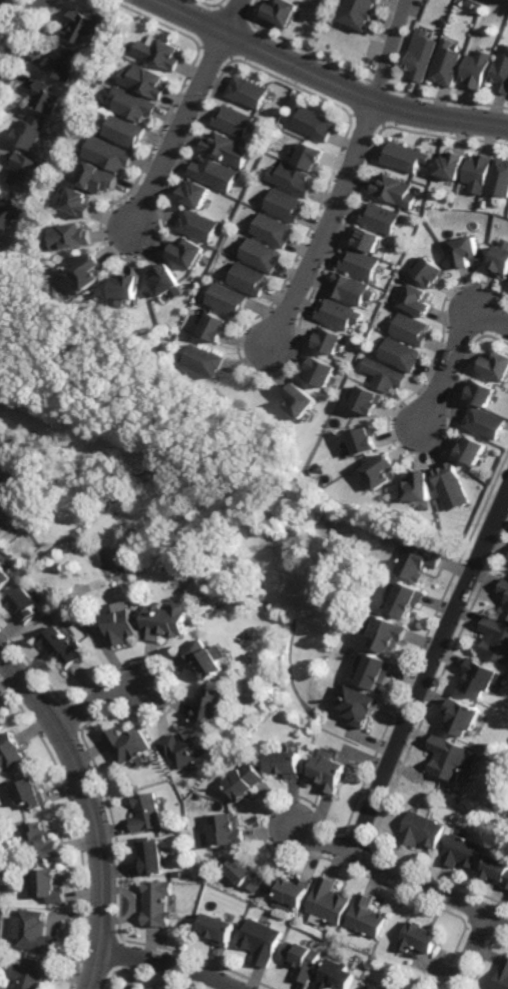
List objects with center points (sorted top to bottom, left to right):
building: (1, 0)
building: (282, 11)
building: (360, 12)
building: (81, 25)
road: (20, 43)
building: (160, 52)
building: (421, 58)
building: (64, 61)
building: (447, 63)
building: (477, 68)
building: (501, 72)
road: (325, 78)
building: (145, 80)
building: (247, 90)
building: (46, 96)
building: (134, 105)
road: (185, 113)
building: (236, 121)
building: (315, 123)
building: (29, 132)
building: (126, 132)
building: (227, 148)
building: (110, 155)
building: (308, 155)
building: (404, 156)
building: (451, 164)
building: (24, 171)
building: (479, 172)
building: (215, 173)
road: (346, 177)
building: (100, 178)
building: (291, 179)
building: (500, 180)
building: (395, 191)
building: (195, 193)
building: (78, 202)
building: (285, 206)
building: (10, 213)
building: (381, 219)
building: (198, 225)
building: (274, 230)
building: (72, 236)
building: (368, 241)
building: (464, 252)
building: (188, 253)
building: (263, 254)
building: (501, 258)
building: (361, 264)
building: (86, 272)
building: (430, 273)
building: (249, 280)
building: (165, 282)
building: (350, 289)
building: (125, 290)
building: (230, 300)
building: (416, 301)
building: (339, 314)
building: (217, 327)
building: (412, 329)
building: (330, 342)
road: (452, 349)
building: (401, 355)
building: (164, 359)
building: (208, 361)
building: (496, 365)
building: (323, 372)
building: (385, 375)
building: (481, 395)
building: (368, 401)
building: (302, 402)
building: (485, 423)
building: (364, 443)
building: (471, 451)
building: (379, 474)
building: (451, 488)
building: (416, 489)
building: (419, 563)
building: (3, 578)
building: (504, 590)
building: (407, 601)
building: (22, 608)
building: (506, 609)
building: (168, 619)
building: (121, 628)
building: (390, 636)
building: (497, 636)
building: (62, 644)
building: (205, 656)
building: (377, 669)
road: (431, 671)
building: (486, 674)
road: (106, 696)
building: (209, 704)
building: (360, 705)
building: (467, 714)
building: (2, 717)
building: (127, 743)
building: (184, 747)
building: (11, 752)
building: (454, 756)
building: (285, 761)
building: (329, 771)
building: (245, 779)
building: (31, 791)
road: (91, 808)
building: (146, 812)
building: (223, 830)
building: (425, 830)
building: (43, 839)
building: (466, 851)
building: (150, 855)
building: (498, 867)
building: (178, 872)
building: (244, 872)
road: (402, 873)
building: (507, 882)
building: (51, 884)
building: (287, 891)
building: (327, 900)
building: (157, 903)
building: (211, 907)
building: (366, 916)
building: (217, 928)
building: (35, 931)
building: (421, 937)
building: (261, 940)
road: (473, 951)
building: (302, 959)
road: (170, 963)
building: (32, 973)
building: (336, 976)
building: (503, 979)
building: (382, 987)
building: (393, 988)

